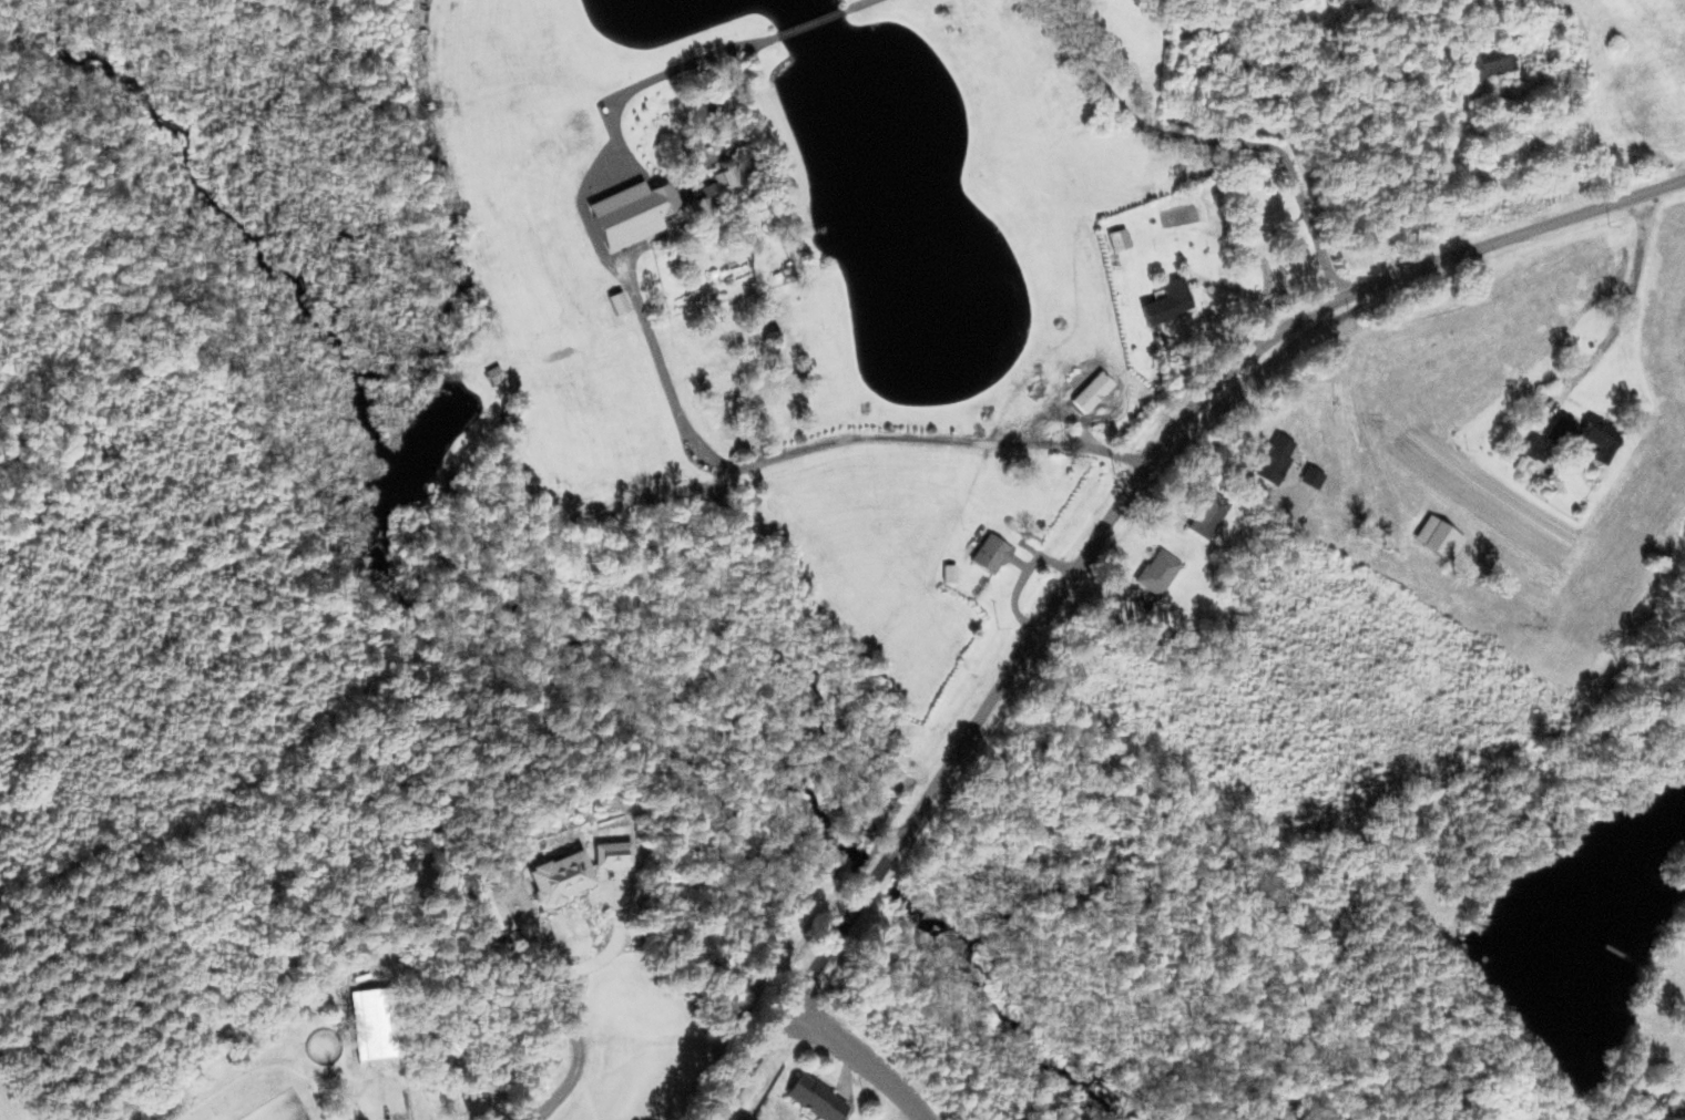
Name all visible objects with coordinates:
road: (856, 4)
road: (810, 22)
building: (1490, 62)
road: (647, 79)
road: (1265, 94)
road: (1132, 119)
road: (694, 133)
road: (1290, 181)
building: (716, 193)
road: (1340, 209)
building: (632, 212)
building: (1117, 239)
building: (1166, 301)
building: (617, 302)
road: (1260, 323)
building: (1087, 389)
road: (1181, 420)
building: (1586, 435)
building: (1273, 458)
building: (1207, 514)
building: (990, 554)
building: (1157, 572)
building: (1431, 578)
building: (611, 854)
building: (561, 876)
building: (484, 898)
road: (790, 1006)
building: (371, 1024)
road: (865, 1056)
building: (816, 1098)
building: (1672, 1109)

